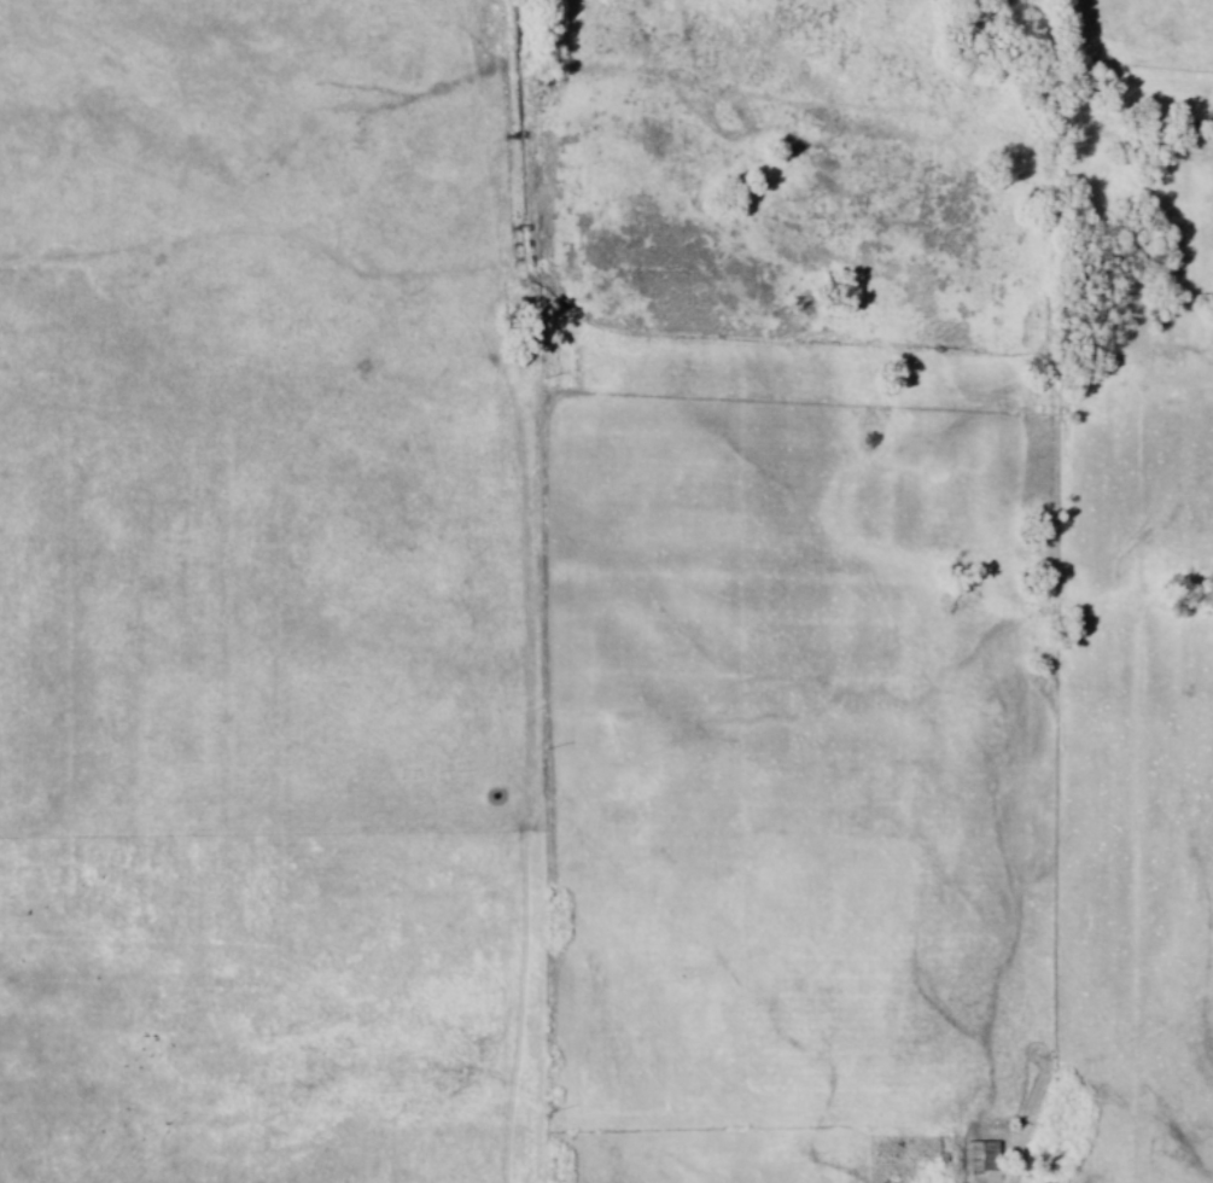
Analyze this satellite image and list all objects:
building: (976, 1155)

